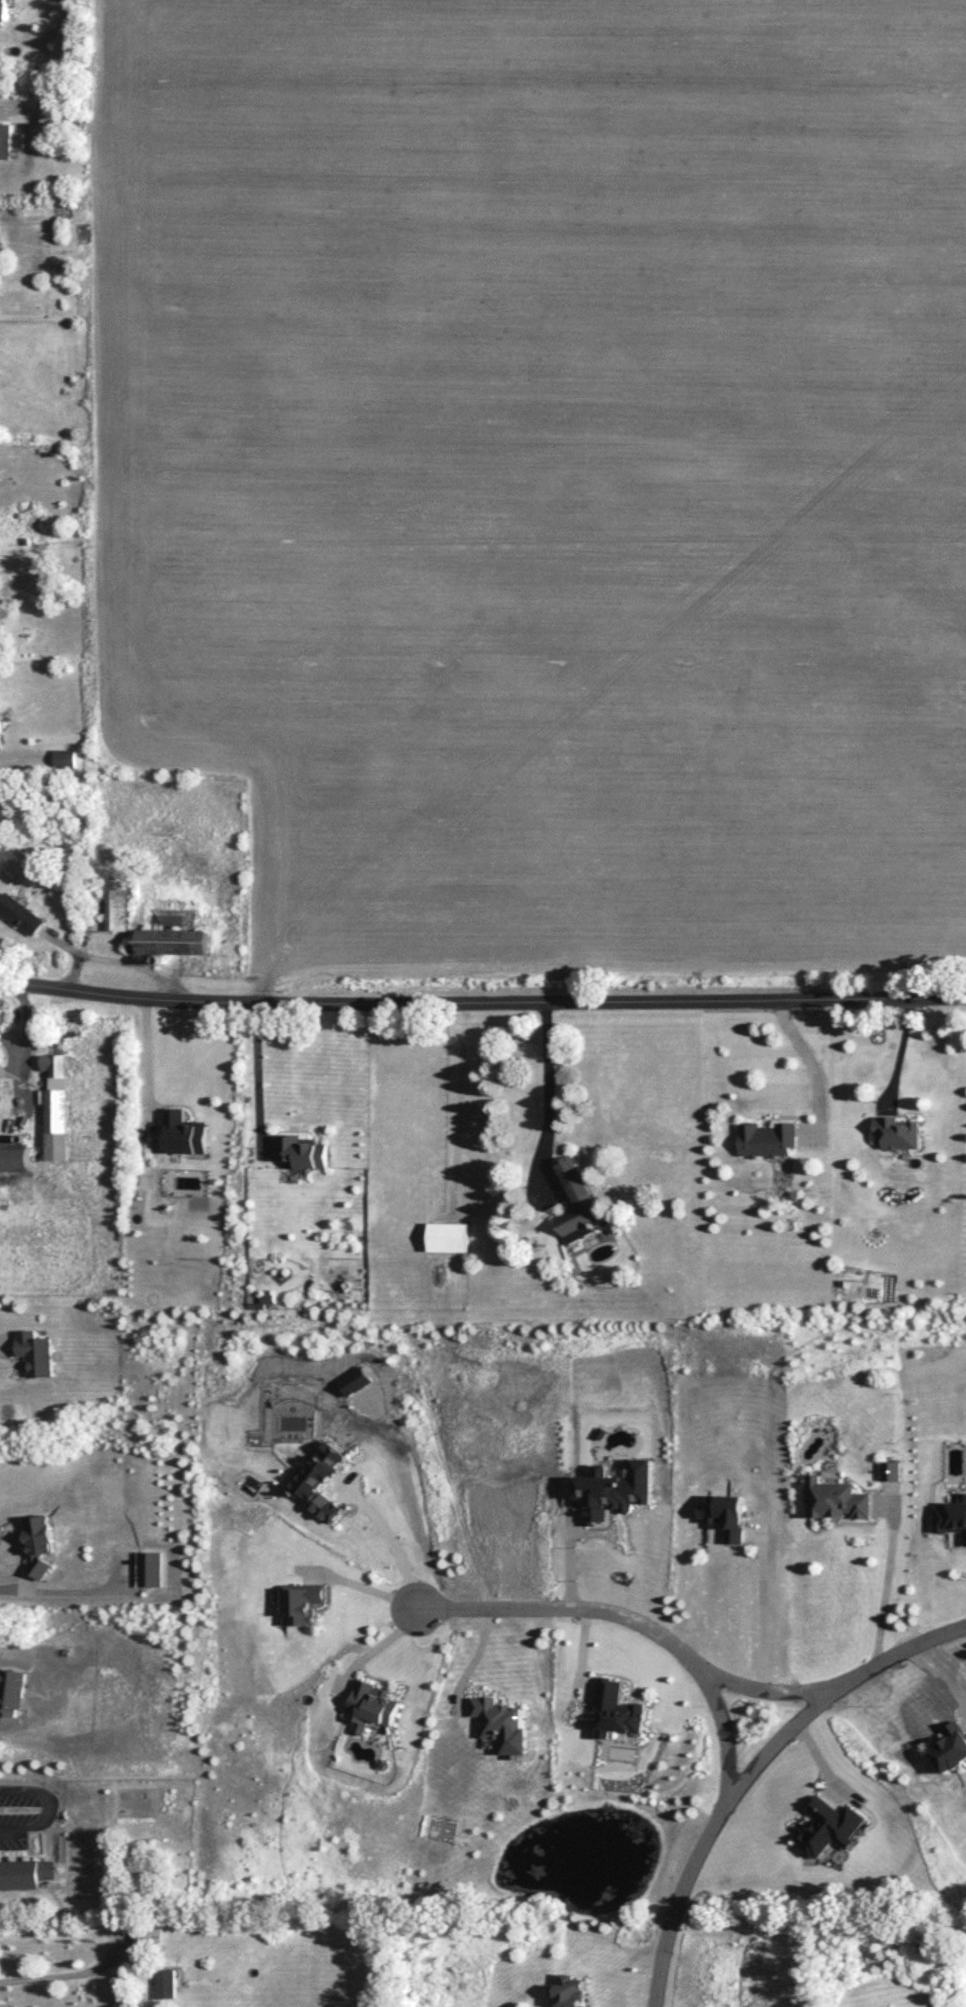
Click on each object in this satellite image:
building: (4, 10)
building: (6, 140)
building: (0, 595)
building: (1, 740)
building: (64, 758)
building: (116, 905)
building: (20, 913)
building: (170, 941)
road: (482, 1003)
road: (899, 1052)
road: (148, 1063)
building: (55, 1064)
road: (815, 1068)
road: (257, 1077)
road: (549, 1095)
building: (57, 1124)
building: (897, 1131)
building: (185, 1132)
building: (767, 1138)
building: (302, 1151)
building: (16, 1157)
building: (577, 1202)
road: (7, 1340)
building: (34, 1352)
building: (353, 1380)
building: (891, 1470)
building: (322, 1481)
building: (615, 1490)
building: (836, 1499)
building: (726, 1515)
building: (949, 1516)
building: (36, 1541)
road: (391, 1541)
road: (569, 1557)
building: (149, 1568)
road: (363, 1586)
road: (882, 1587)
road: (66, 1590)
building: (302, 1602)
road: (759, 1613)
road: (634, 1626)
road: (483, 1658)
building: (11, 1690)
road: (763, 1695)
building: (371, 1705)
building: (616, 1710)
building: (496, 1717)
building: (950, 1747)
road: (755, 1771)
road: (45, 1806)
building: (828, 1826)
building: (23, 1873)
building: (149, 1934)
road: (66, 1977)
building: (167, 1982)
building: (571, 1991)

